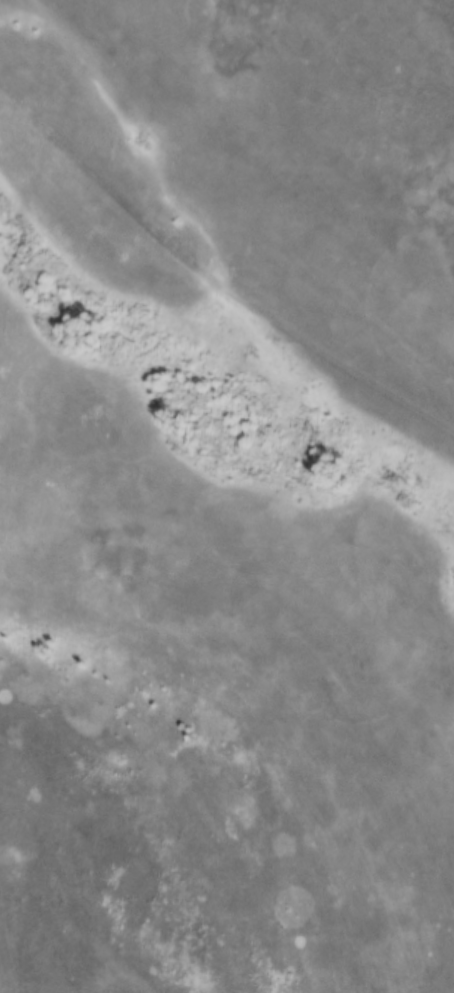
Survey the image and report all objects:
road: (211, 276)

